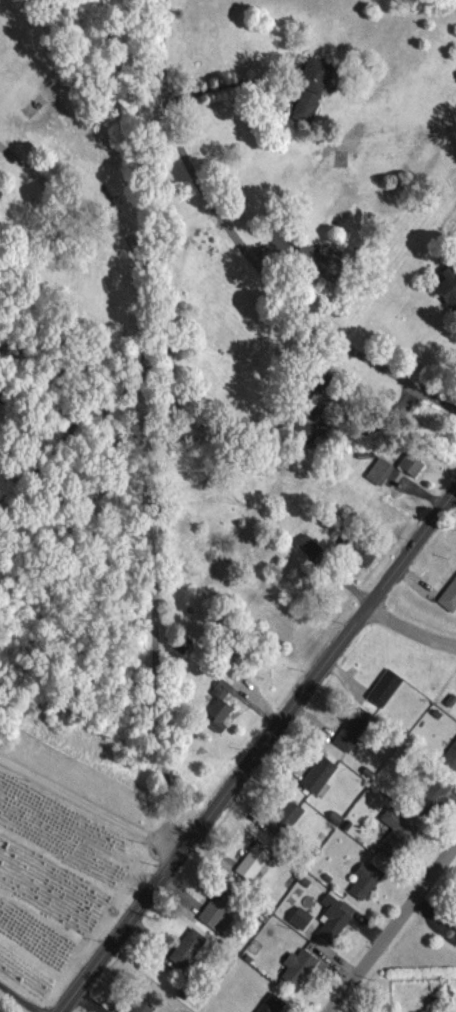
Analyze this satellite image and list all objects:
road: (228, 83)
building: (314, 88)
road: (246, 246)
building: (322, 260)
building: (449, 287)
building: (318, 391)
road: (148, 461)
building: (414, 464)
building: (382, 471)
building: (313, 547)
building: (366, 556)
building: (450, 597)
road: (409, 629)
building: (388, 688)
building: (222, 706)
building: (352, 734)
road: (257, 749)
building: (452, 754)
building: (322, 774)
building: (436, 795)
road: (89, 804)
building: (289, 818)
building: (399, 833)
building: (256, 861)
building: (368, 880)
building: (221, 909)
building: (303, 917)
building: (337, 918)
road: (390, 926)
building: (191, 948)
building: (301, 967)
road: (22, 995)
building: (0, 1002)
building: (274, 1003)
building: (143, 1007)
building: (426, 1011)

